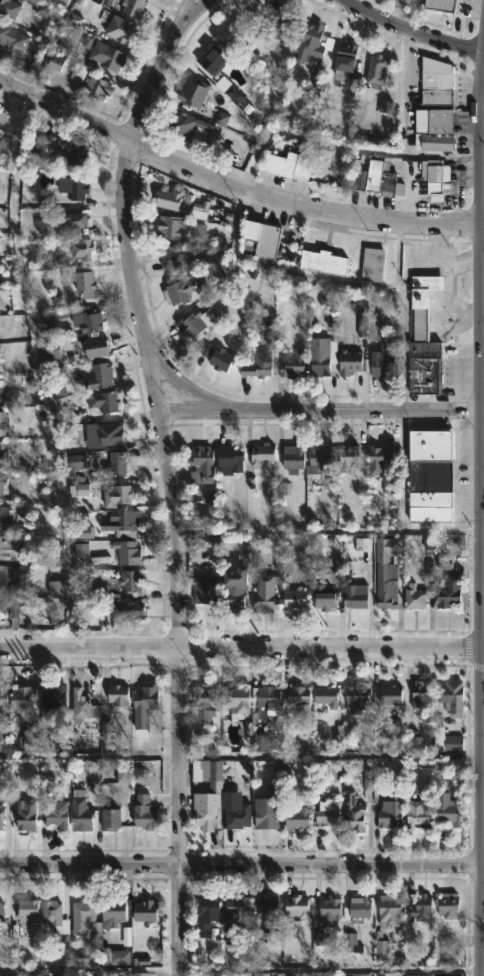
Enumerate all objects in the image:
road: (190, 1)
building: (440, 5)
building: (133, 8)
building: (9, 9)
building: (41, 10)
building: (280, 23)
building: (84, 25)
building: (120, 30)
road: (413, 30)
building: (12, 36)
building: (312, 43)
road: (49, 47)
building: (106, 56)
building: (343, 59)
building: (212, 60)
building: (54, 66)
building: (376, 71)
building: (78, 73)
building: (436, 83)
building: (96, 88)
building: (229, 90)
road: (483, 90)
building: (192, 93)
building: (365, 94)
building: (385, 106)
building: (221, 118)
building: (433, 122)
building: (181, 123)
road: (402, 128)
road: (482, 129)
road: (307, 137)
building: (70, 151)
building: (291, 163)
building: (376, 177)
building: (435, 180)
road: (234, 183)
building: (74, 189)
building: (168, 199)
building: (70, 219)
building: (179, 230)
building: (265, 241)
building: (80, 250)
building: (173, 260)
road: (442, 261)
building: (323, 264)
building: (372, 265)
road: (283, 270)
building: (82, 284)
building: (180, 290)
building: (423, 304)
gas station: (423, 304)
road: (447, 306)
road: (405, 314)
building: (49, 320)
building: (85, 320)
building: (191, 325)
building: (361, 325)
building: (96, 348)
building: (54, 349)
building: (321, 356)
road: (471, 357)
building: (217, 358)
building: (349, 362)
building: (380, 365)
building: (292, 366)
building: (258, 367)
building: (424, 369)
road: (41, 370)
building: (99, 375)
road: (454, 382)
building: (1, 384)
building: (105, 402)
road: (322, 411)
building: (2, 422)
building: (109, 434)
building: (3, 453)
building: (261, 453)
building: (322, 456)
building: (293, 457)
building: (348, 457)
building: (379, 457)
building: (229, 459)
building: (75, 461)
building: (113, 463)
building: (201, 464)
road: (403, 471)
building: (431, 475)
road: (170, 479)
building: (1, 482)
building: (78, 490)
building: (116, 494)
road: (483, 502)
building: (5, 518)
building: (120, 523)
building: (84, 532)
road: (329, 532)
building: (208, 542)
building: (362, 544)
building: (10, 547)
building: (50, 549)
building: (127, 552)
building: (89, 557)
building: (442, 563)
building: (2, 575)
building: (385, 576)
building: (127, 580)
building: (56, 588)
building: (234, 588)
building: (206, 591)
building: (448, 591)
building: (265, 593)
building: (355, 596)
building: (414, 596)
building: (295, 598)
building: (325, 598)
building: (1, 607)
building: (126, 609)
building: (16, 611)
road: (241, 647)
road: (483, 647)
road: (483, 692)
building: (389, 694)
building: (117, 695)
building: (326, 695)
building: (420, 696)
building: (53, 697)
building: (299, 697)
building: (452, 697)
building: (3, 698)
building: (22, 698)
building: (356, 699)
building: (267, 700)
building: (237, 701)
building: (83, 705)
building: (143, 705)
building: (203, 705)
building: (105, 732)
building: (3, 736)
building: (30, 740)
building: (263, 741)
building: (305, 741)
building: (453, 743)
building: (208, 774)
building: (122, 775)
building: (367, 783)
building: (266, 809)
building: (390, 810)
building: (448, 810)
building: (206, 811)
building: (143, 812)
building: (353, 812)
building: (327, 813)
building: (417, 813)
building: (24, 814)
building: (57, 814)
building: (80, 814)
building: (0, 815)
building: (237, 816)
building: (297, 817)
building: (109, 819)
road: (242, 863)
building: (448, 905)
building: (359, 907)
building: (418, 907)
building: (296, 908)
building: (329, 910)
building: (83, 911)
building: (113, 911)
building: (145, 911)
building: (268, 911)
building: (389, 911)
building: (26, 913)
building: (1, 916)
building: (234, 916)
building: (205, 919)
building: (55, 923)
building: (351, 943)
building: (380, 947)
building: (140, 956)
building: (115, 957)
road: (330, 969)
road: (483, 973)
building: (141, 974)
building: (57, 975)
building: (415, 975)

